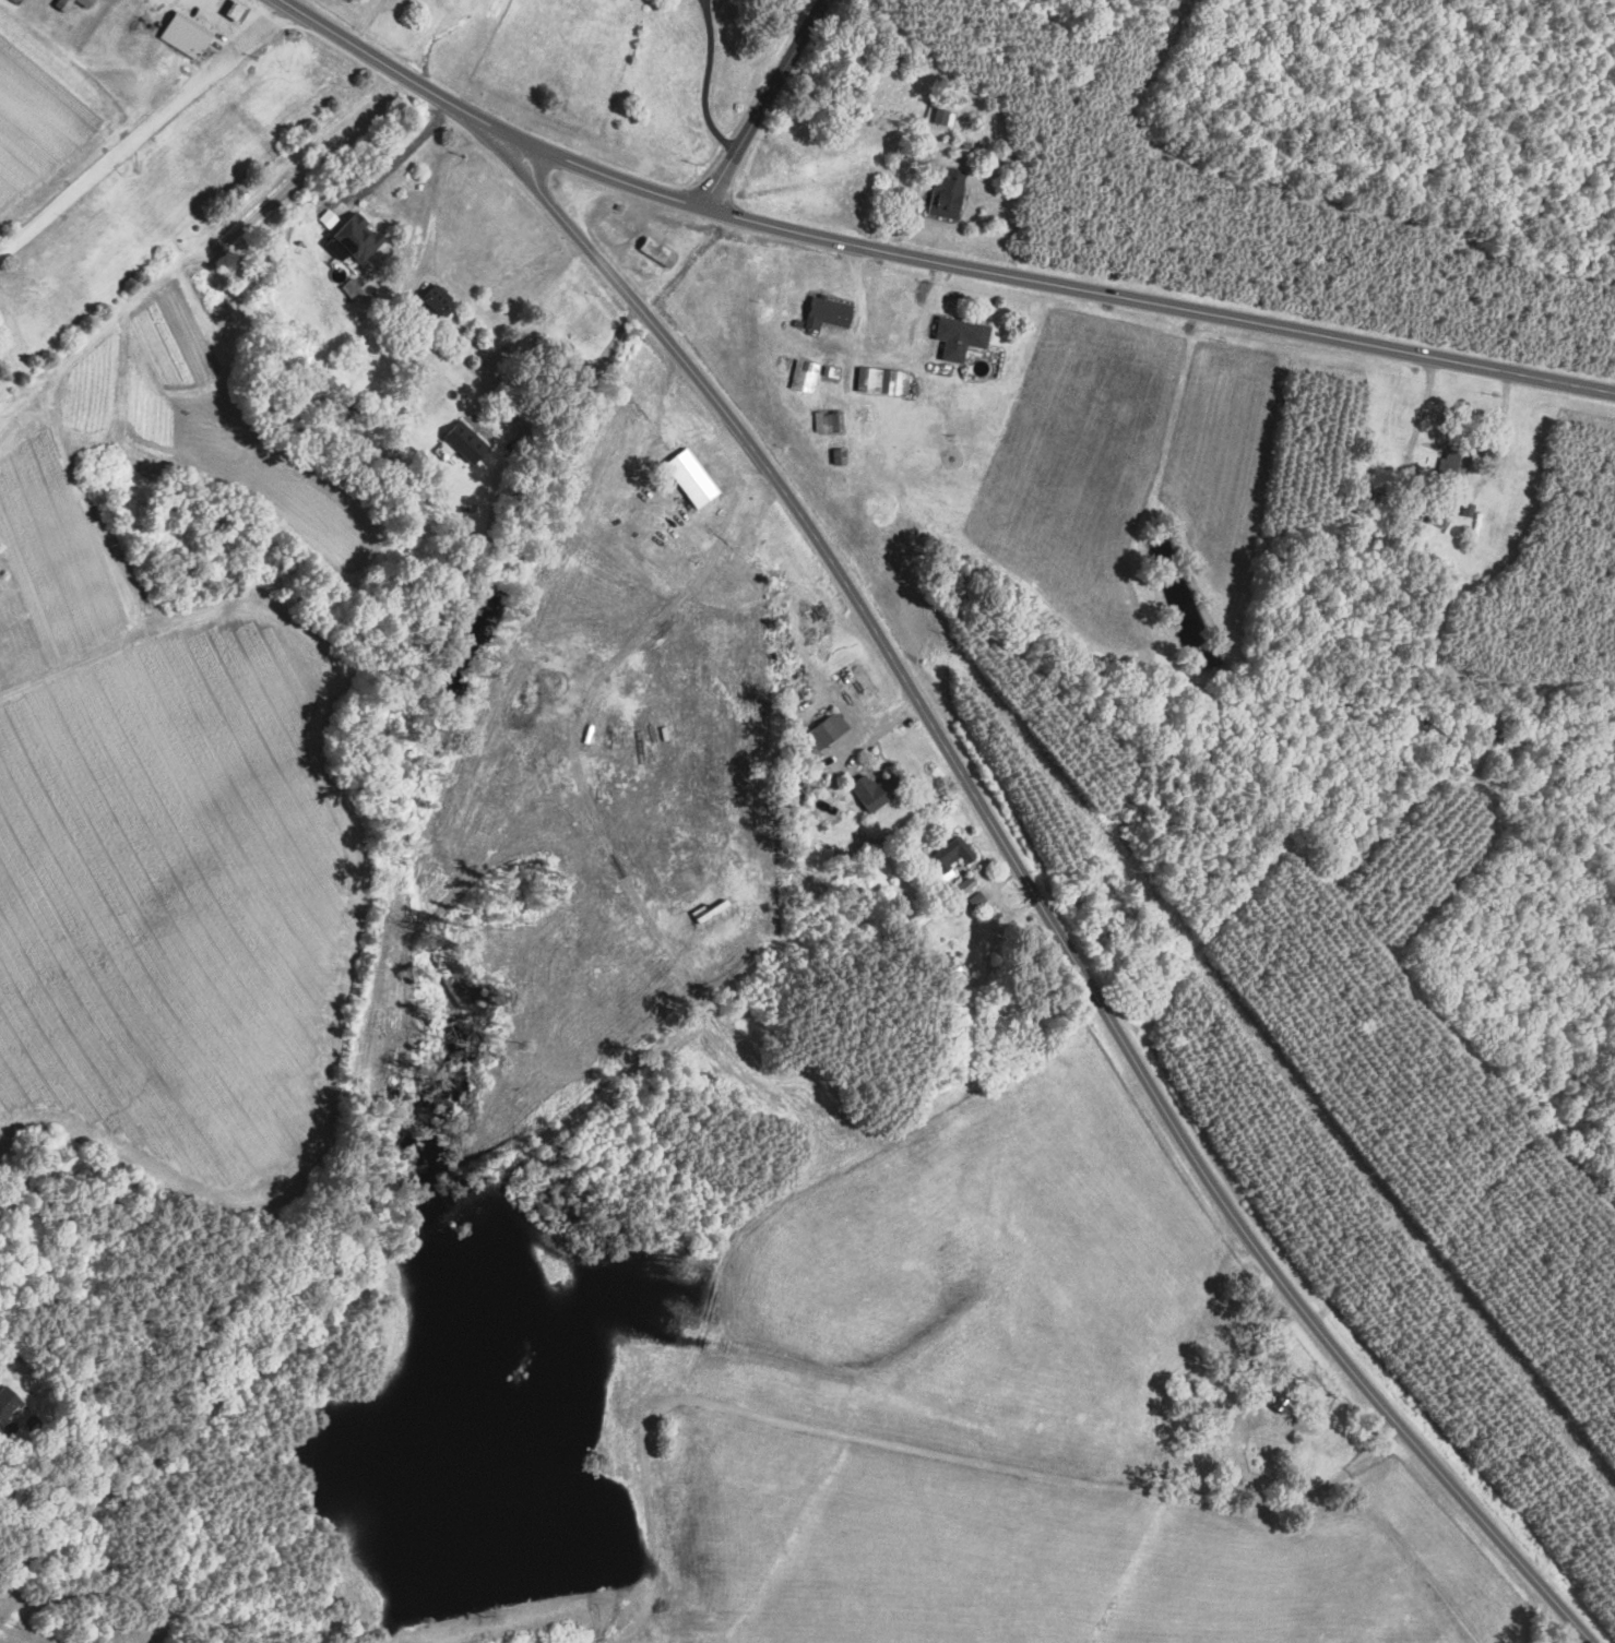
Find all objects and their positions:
building: (94, 0)
road: (194, 1)
building: (13, 2)
building: (69, 4)
building: (231, 13)
road: (249, 13)
road: (215, 15)
road: (242, 35)
building: (182, 36)
road: (378, 60)
road: (704, 80)
road: (761, 104)
building: (733, 106)
building: (938, 118)
road: (144, 130)
road: (501, 132)
crop: (39, 136)
road: (397, 160)
road: (432, 193)
building: (943, 194)
building: (346, 235)
building: (653, 252)
road: (1066, 285)
building: (349, 289)
building: (332, 296)
building: (430, 306)
building: (823, 313)
building: (477, 333)
building: (957, 337)
building: (401, 346)
building: (800, 377)
building: (895, 385)
road: (668, 393)
road: (573, 398)
building: (859, 418)
building: (838, 421)
building: (462, 443)
road: (727, 455)
building: (1456, 462)
building: (687, 479)
road: (842, 707)
road: (871, 731)
building: (822, 733)
building: (800, 787)
building: (870, 789)
crop: (169, 793)
building: (947, 858)
road: (1002, 880)
building: (962, 885)
building: (974, 898)
road: (1040, 904)
building: (953, 969)
crop: (974, 1282)
building: (1211, 1320)
road: (1254, 1368)
building: (1275, 1405)
building: (10, 1412)
road: (879, 1442)
building: (1177, 1465)
road: (1343, 1476)
building: (1224, 1480)
road: (1247, 1481)
crop: (1441, 1541)
crop: (985, 1555)
road: (124, 1598)
road: (602, 1623)
crop: (1, 1642)

